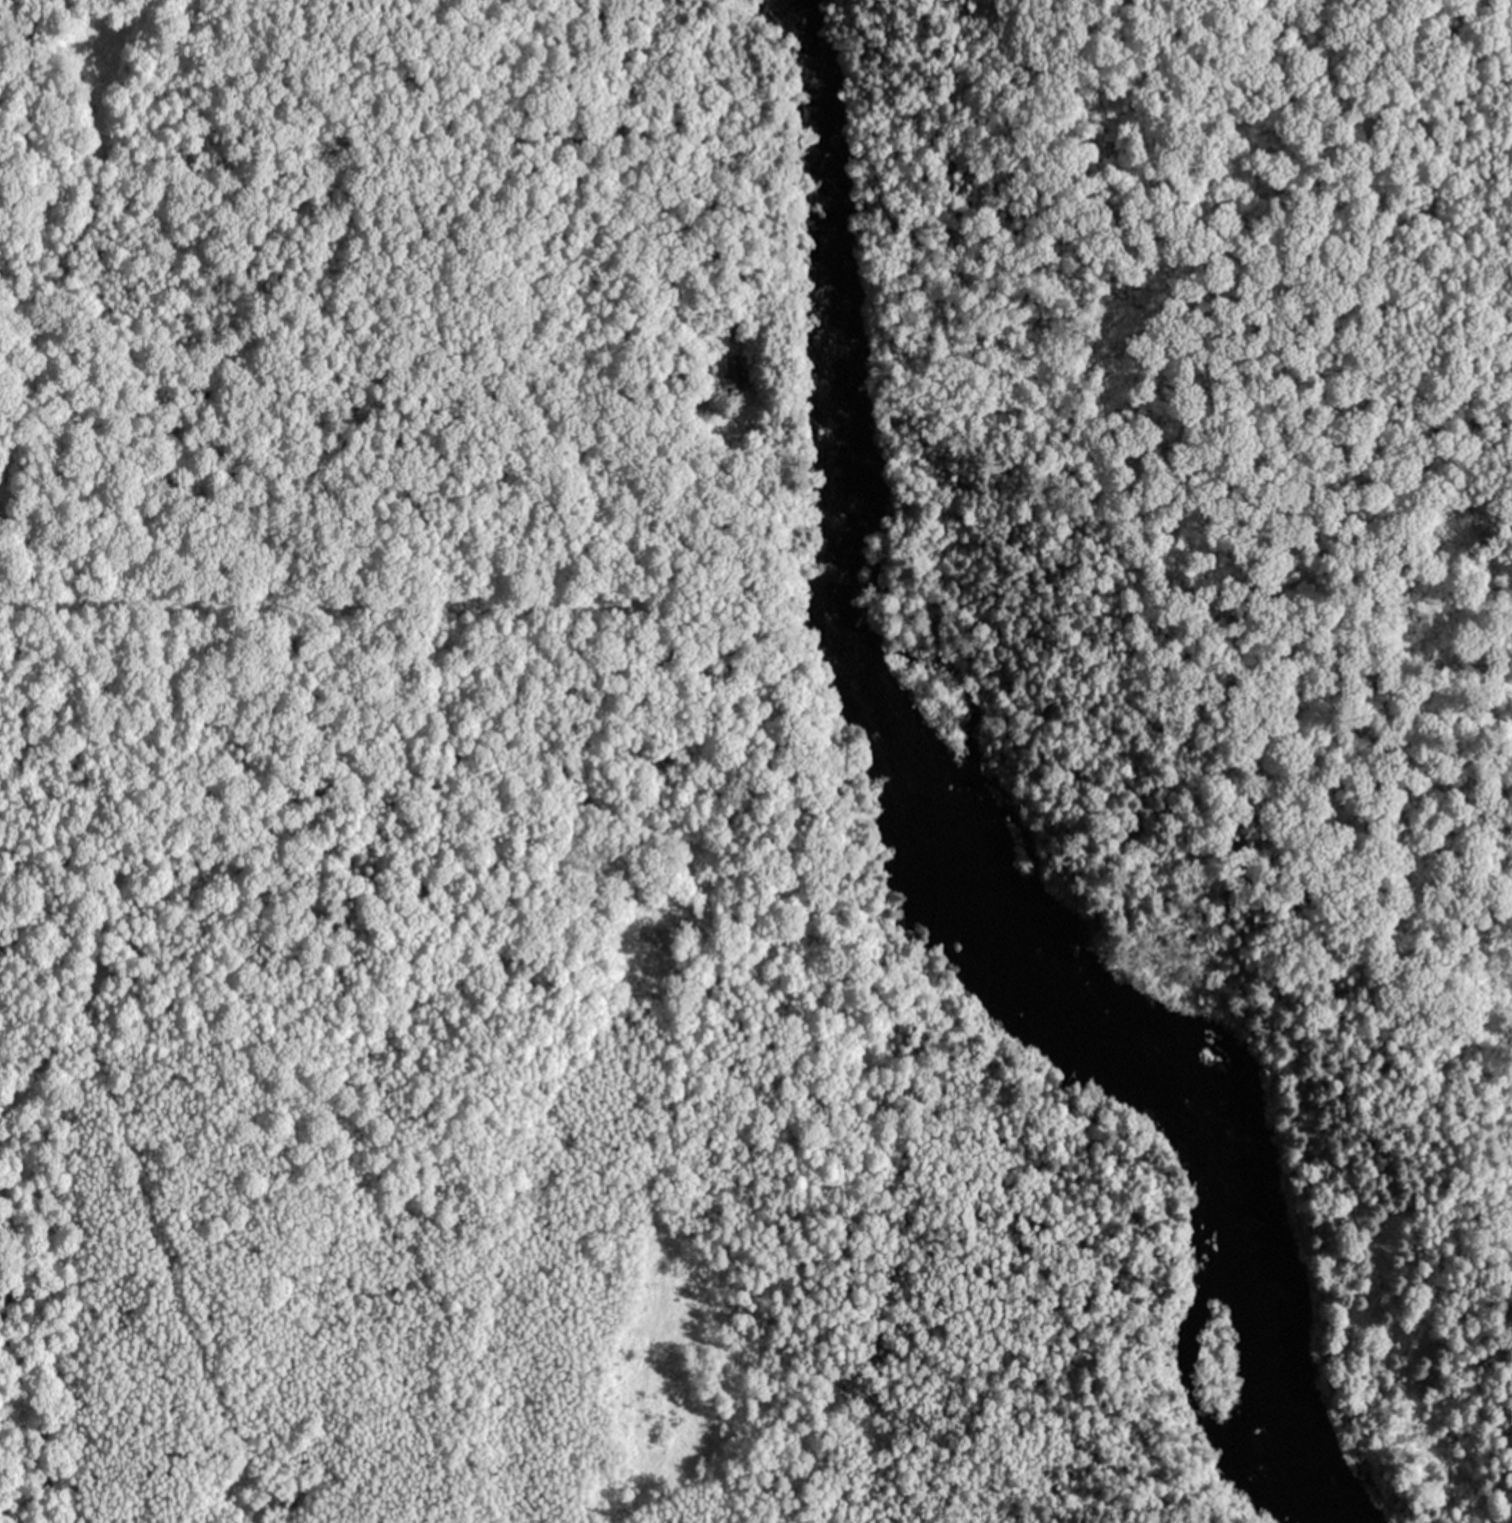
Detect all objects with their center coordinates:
road: (1439, 273)
river: (827, 305)
building: (730, 371)
road: (422, 605)
road: (1264, 915)
river: (1130, 1049)

